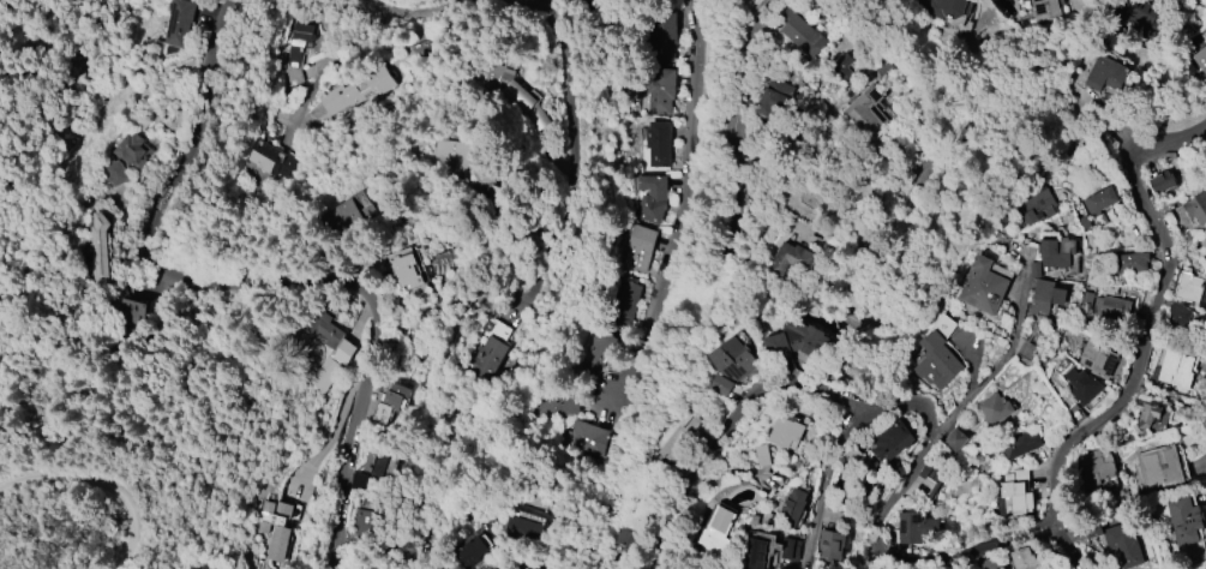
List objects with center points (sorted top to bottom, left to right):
building: (553, 1)
building: (583, 2)
building: (944, 8)
building: (1045, 10)
road: (428, 14)
building: (1130, 16)
building: (181, 23)
road: (371, 28)
building: (798, 29)
building: (665, 40)
building: (296, 41)
building: (1198, 62)
building: (845, 68)
road: (748, 70)
building: (1105, 74)
road: (317, 86)
building: (358, 89)
building: (515, 91)
building: (660, 91)
building: (776, 98)
building: (864, 113)
road: (1057, 118)
road: (307, 120)
building: (738, 134)
building: (658, 143)
building: (133, 151)
road: (570, 156)
building: (266, 161)
building: (473, 166)
road: (684, 167)
building: (1163, 182)
building: (650, 198)
building: (1097, 202)
building: (1037, 206)
building: (1196, 208)
building: (358, 218)
building: (824, 227)
building: (638, 246)
building: (98, 247)
building: (1055, 250)
building: (791, 259)
building: (1132, 263)
building: (418, 270)
road: (256, 284)
building: (983, 287)
building: (1189, 288)
building: (1045, 297)
building: (626, 304)
building: (1110, 309)
building: (126, 311)
road: (1152, 311)
building: (1175, 313)
building: (799, 340)
building: (331, 347)
building: (599, 348)
building: (486, 357)
road: (1006, 358)
building: (936, 360)
building: (1098, 360)
building: (731, 364)
building: (1172, 370)
building: (1082, 385)
building: (391, 401)
building: (994, 409)
building: (860, 414)
building: (1145, 415)
road: (726, 427)
building: (786, 432)
building: (586, 438)
building: (682, 439)
building: (955, 441)
building: (892, 442)
building: (1019, 444)
building: (763, 455)
building: (376, 465)
building: (1096, 466)
building: (1157, 468)
building: (1013, 475)
road: (100, 484)
road: (823, 484)
building: (1016, 497)
building: (792, 508)
building: (829, 517)
building: (1183, 520)
building: (362, 521)
building: (634, 525)
building: (277, 526)
building: (914, 527)
building: (523, 529)
building: (716, 531)
building: (1096, 531)
road: (870, 532)
building: (830, 544)
building: (1123, 544)
road: (36, 547)
road: (1067, 549)
building: (474, 550)
building: (1025, 558)
building: (527, 565)

